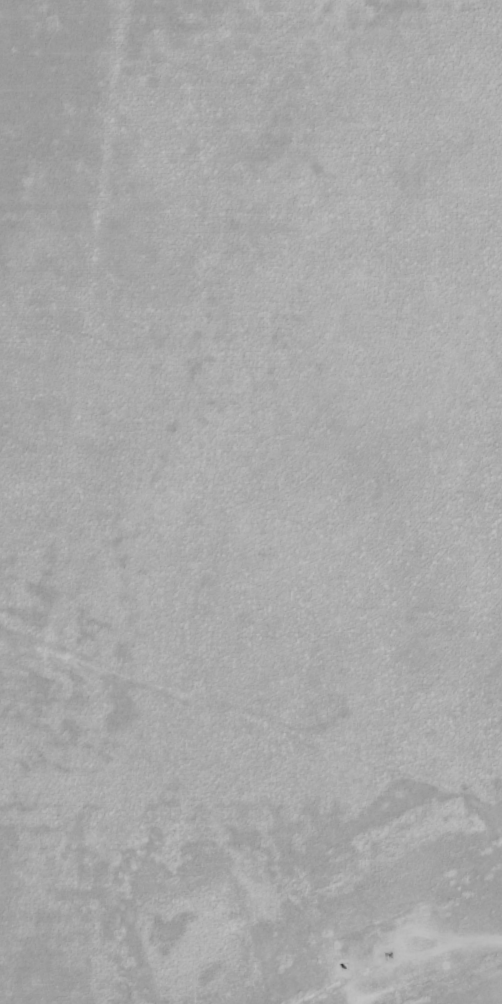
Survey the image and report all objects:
road: (465, 949)

